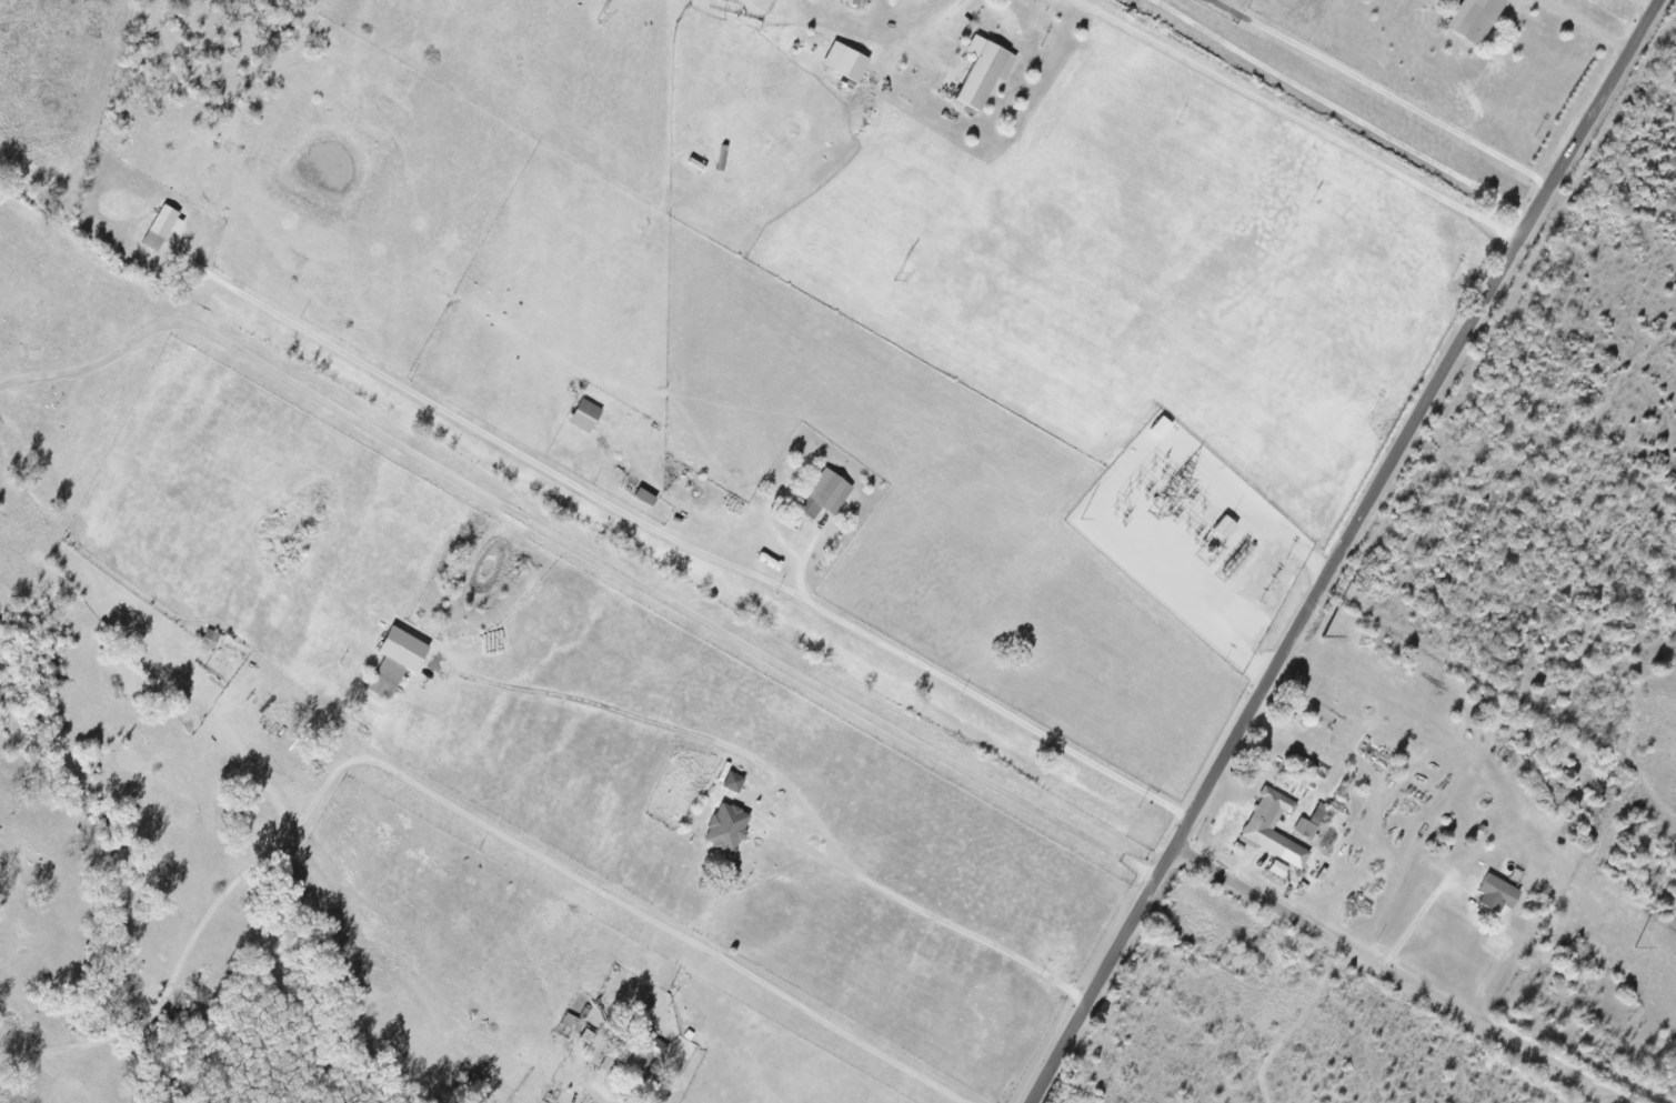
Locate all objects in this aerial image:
road: (1639, 9)
power tower: (602, 16)
building: (1475, 18)
road: (945, 23)
road: (1586, 24)
building: (845, 60)
building: (984, 71)
road: (1383, 91)
road: (1341, 111)
road: (1297, 120)
building: (161, 227)
power tower: (897, 275)
building: (585, 415)
building: (1162, 427)
building: (825, 494)
building: (1225, 527)
power substation: (1196, 537)
road: (683, 542)
road: (1341, 549)
road: (581, 553)
building: (211, 638)
building: (397, 660)
power tower: (1411, 724)
building: (733, 781)
road: (448, 803)
building: (726, 825)
building: (1273, 828)
building: (1305, 828)
building: (1277, 869)
building: (1497, 893)
road: (1414, 924)
road: (959, 932)
road: (1393, 974)
building: (572, 1021)
building: (588, 1035)
building: (634, 1053)
road: (601, 1085)

